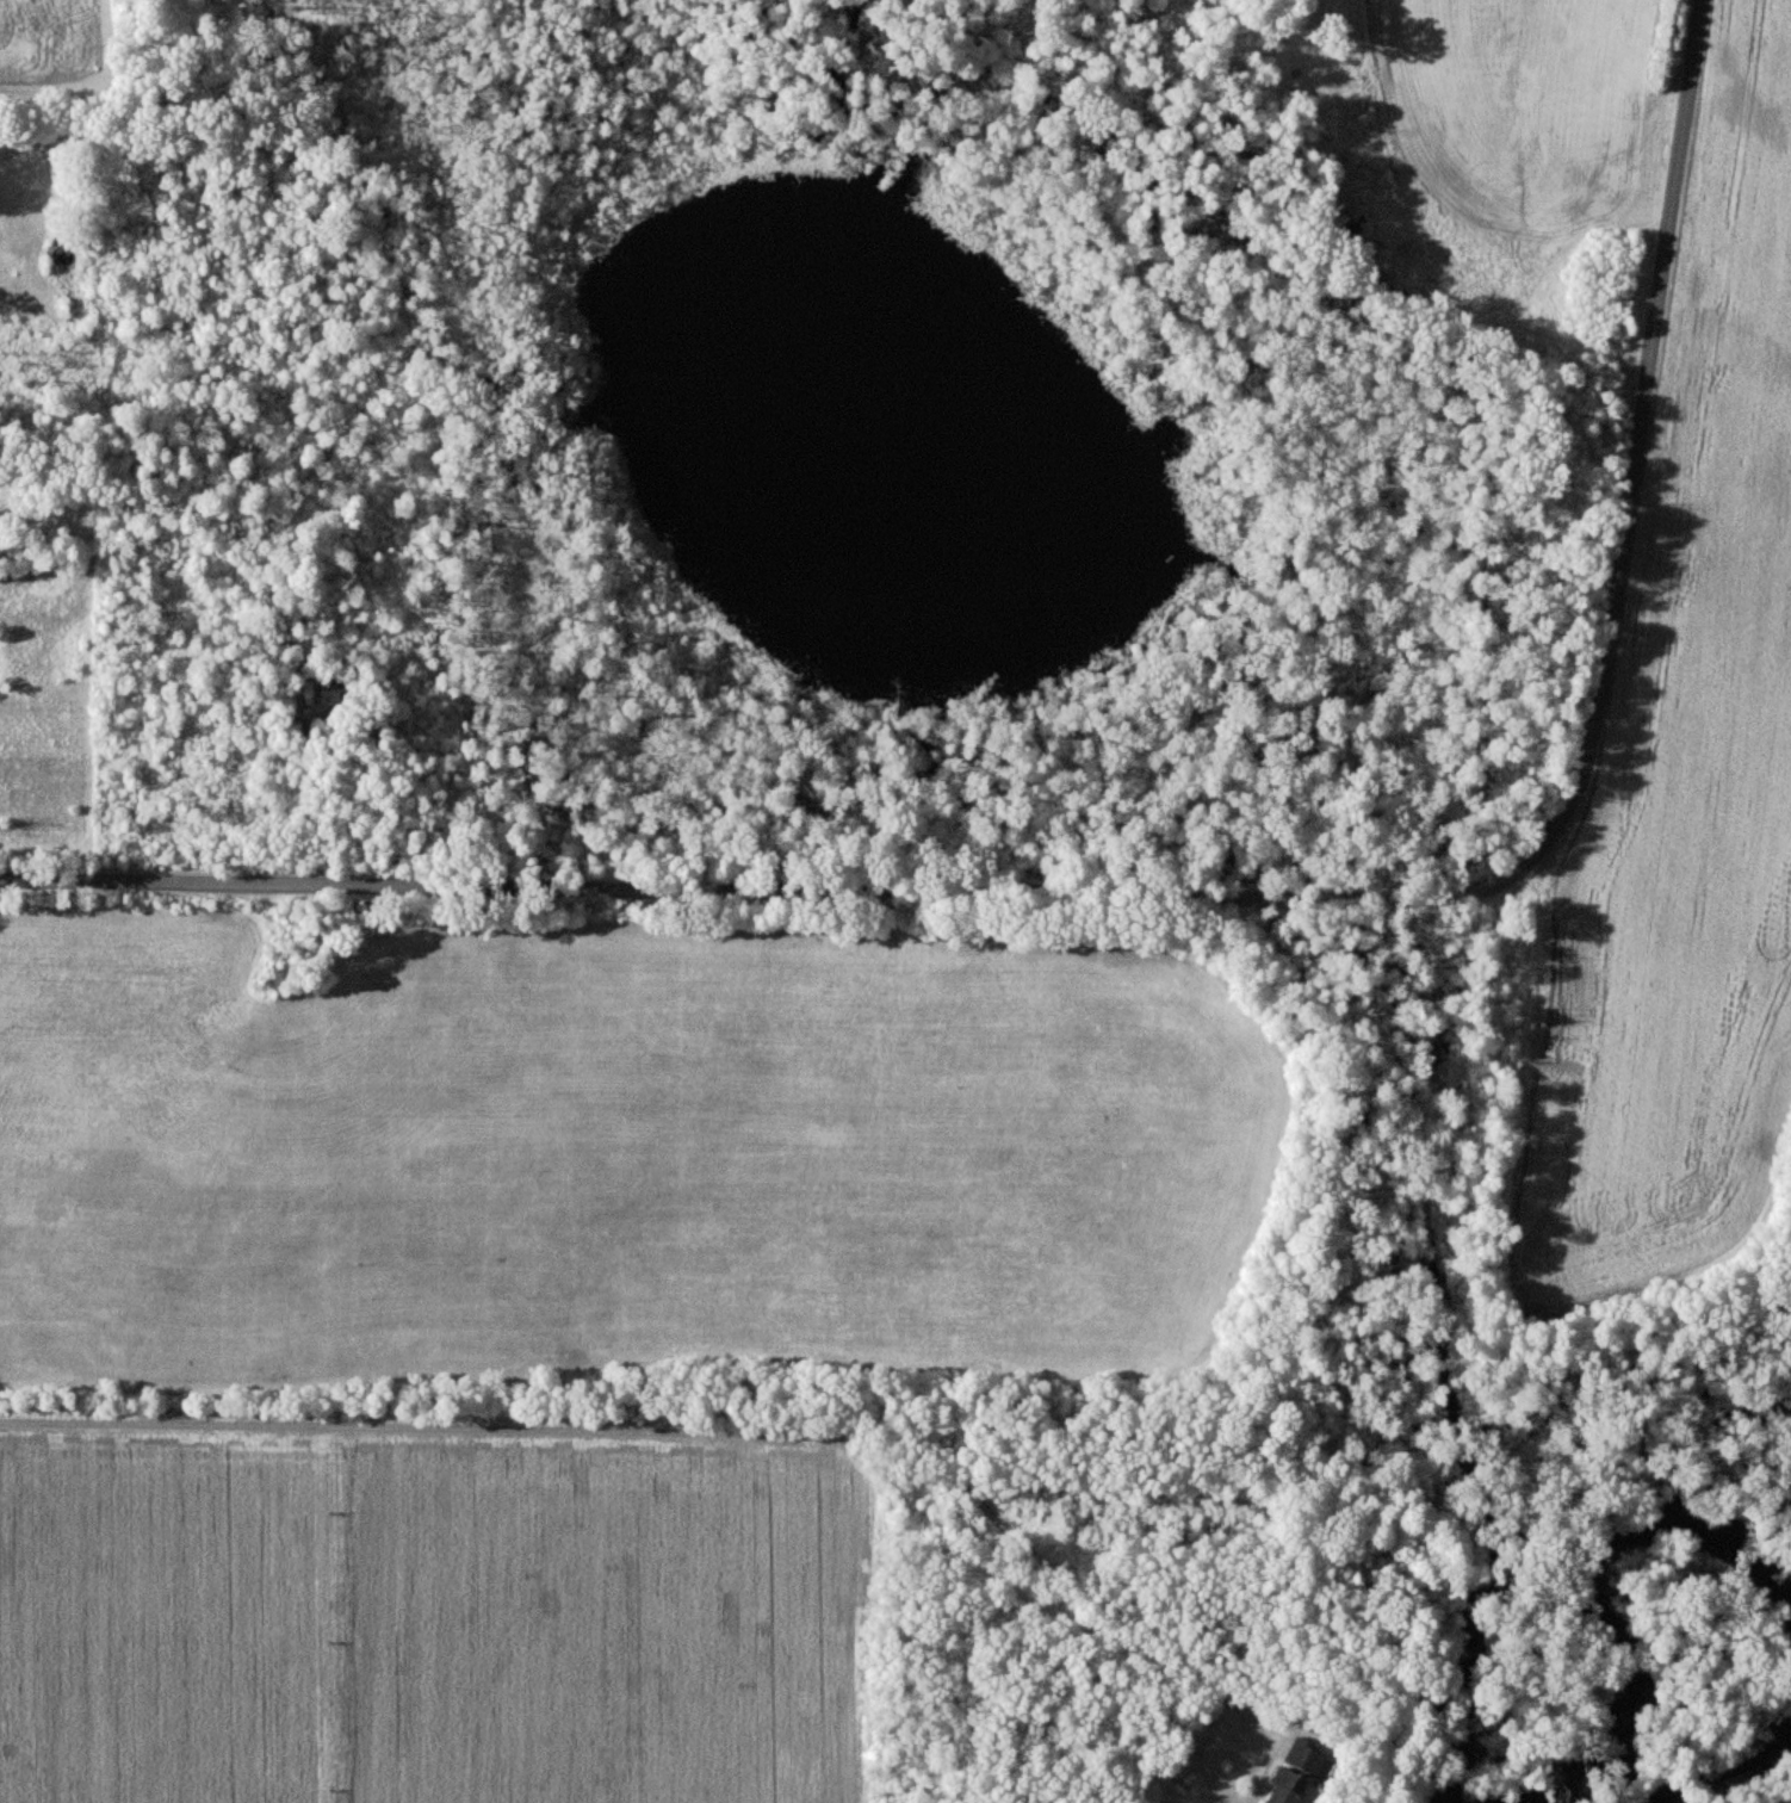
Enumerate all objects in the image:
road: (1640, 433)
building: (334, 689)
road: (714, 791)
road: (776, 888)
building: (1285, 1787)

